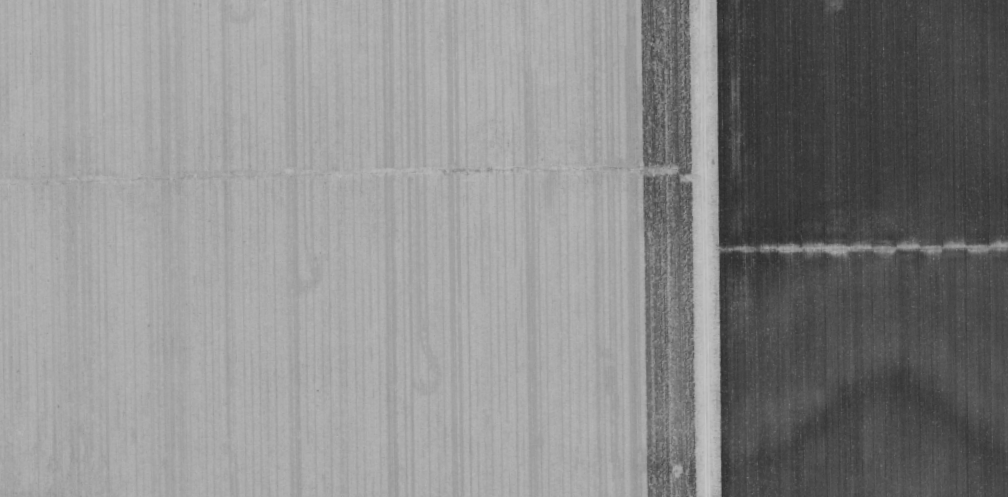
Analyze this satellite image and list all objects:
road: (709, 248)

